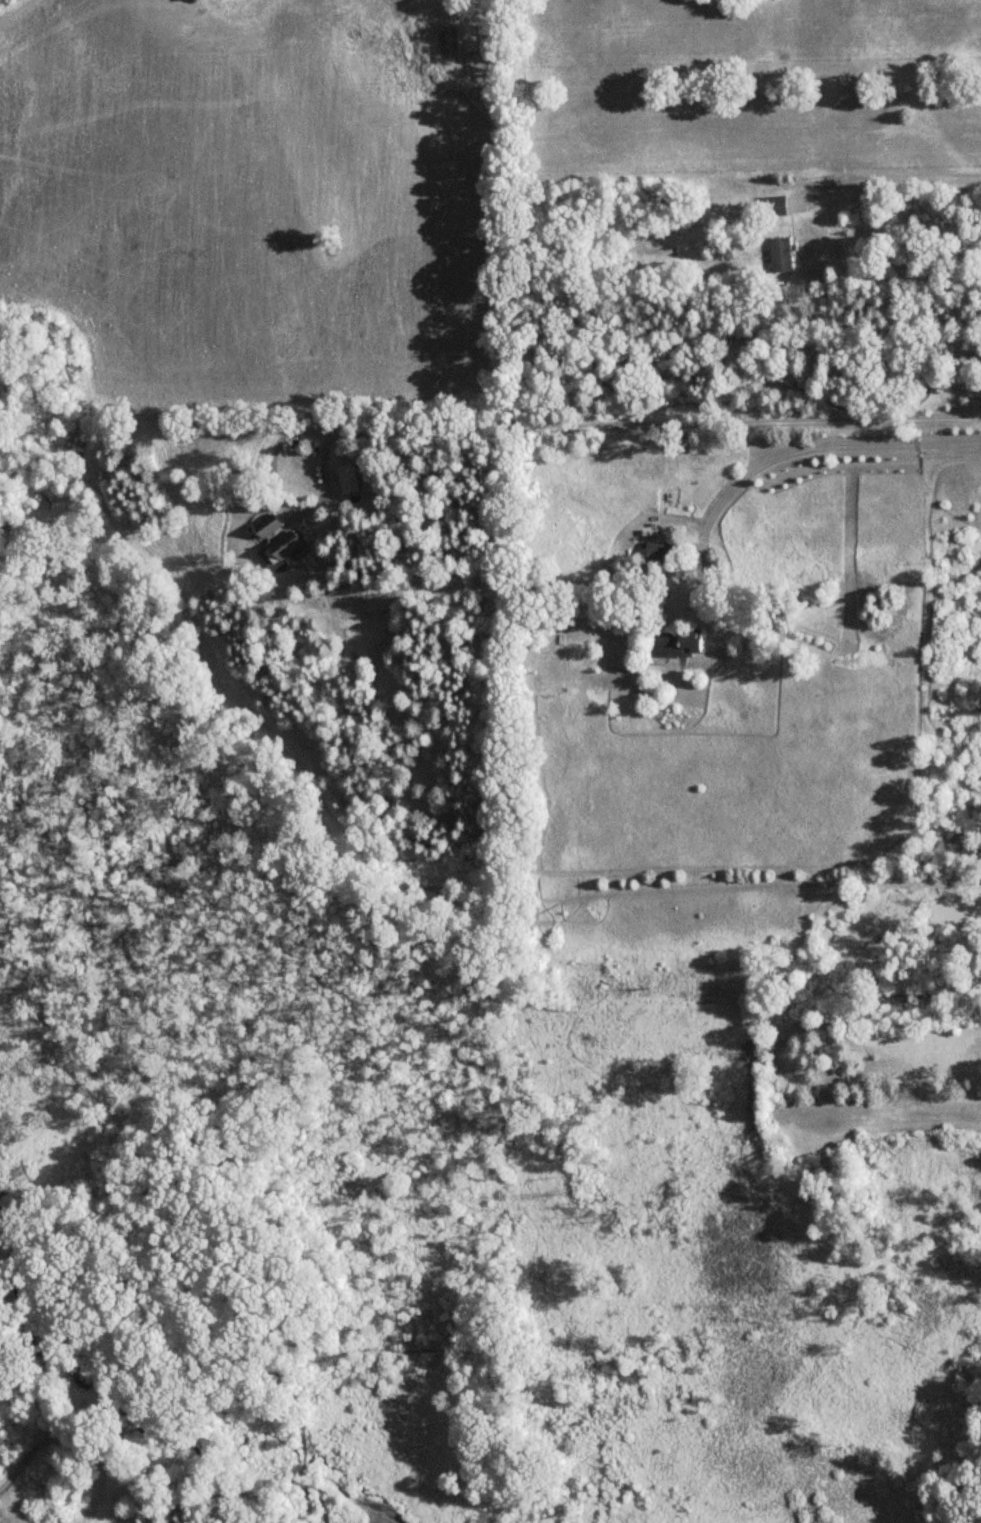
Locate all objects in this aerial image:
building: (464, 39)
road: (890, 177)
building: (774, 205)
building: (781, 254)
road: (654, 426)
road: (795, 451)
building: (350, 478)
road: (284, 500)
building: (270, 524)
building: (286, 546)
building: (661, 552)
building: (680, 643)

